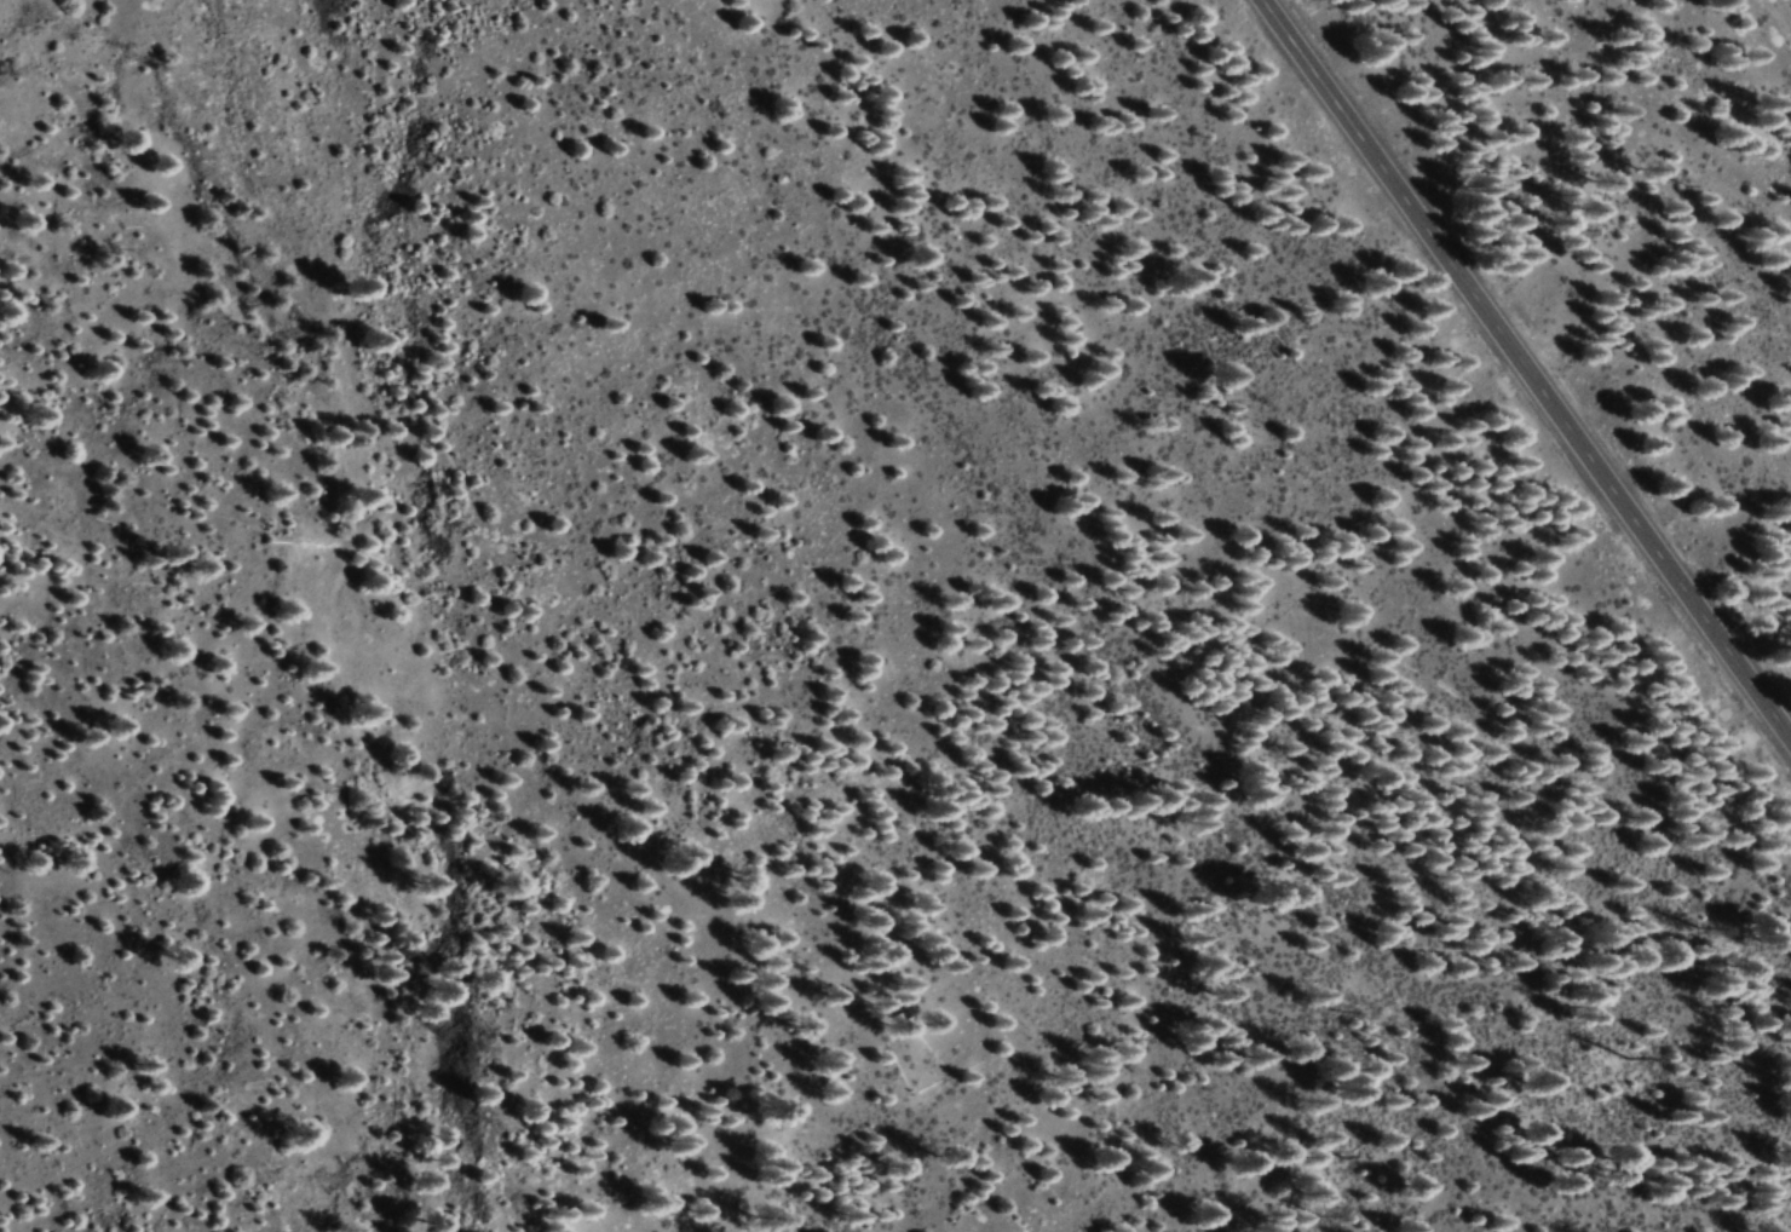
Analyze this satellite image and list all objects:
road: (1530, 363)

